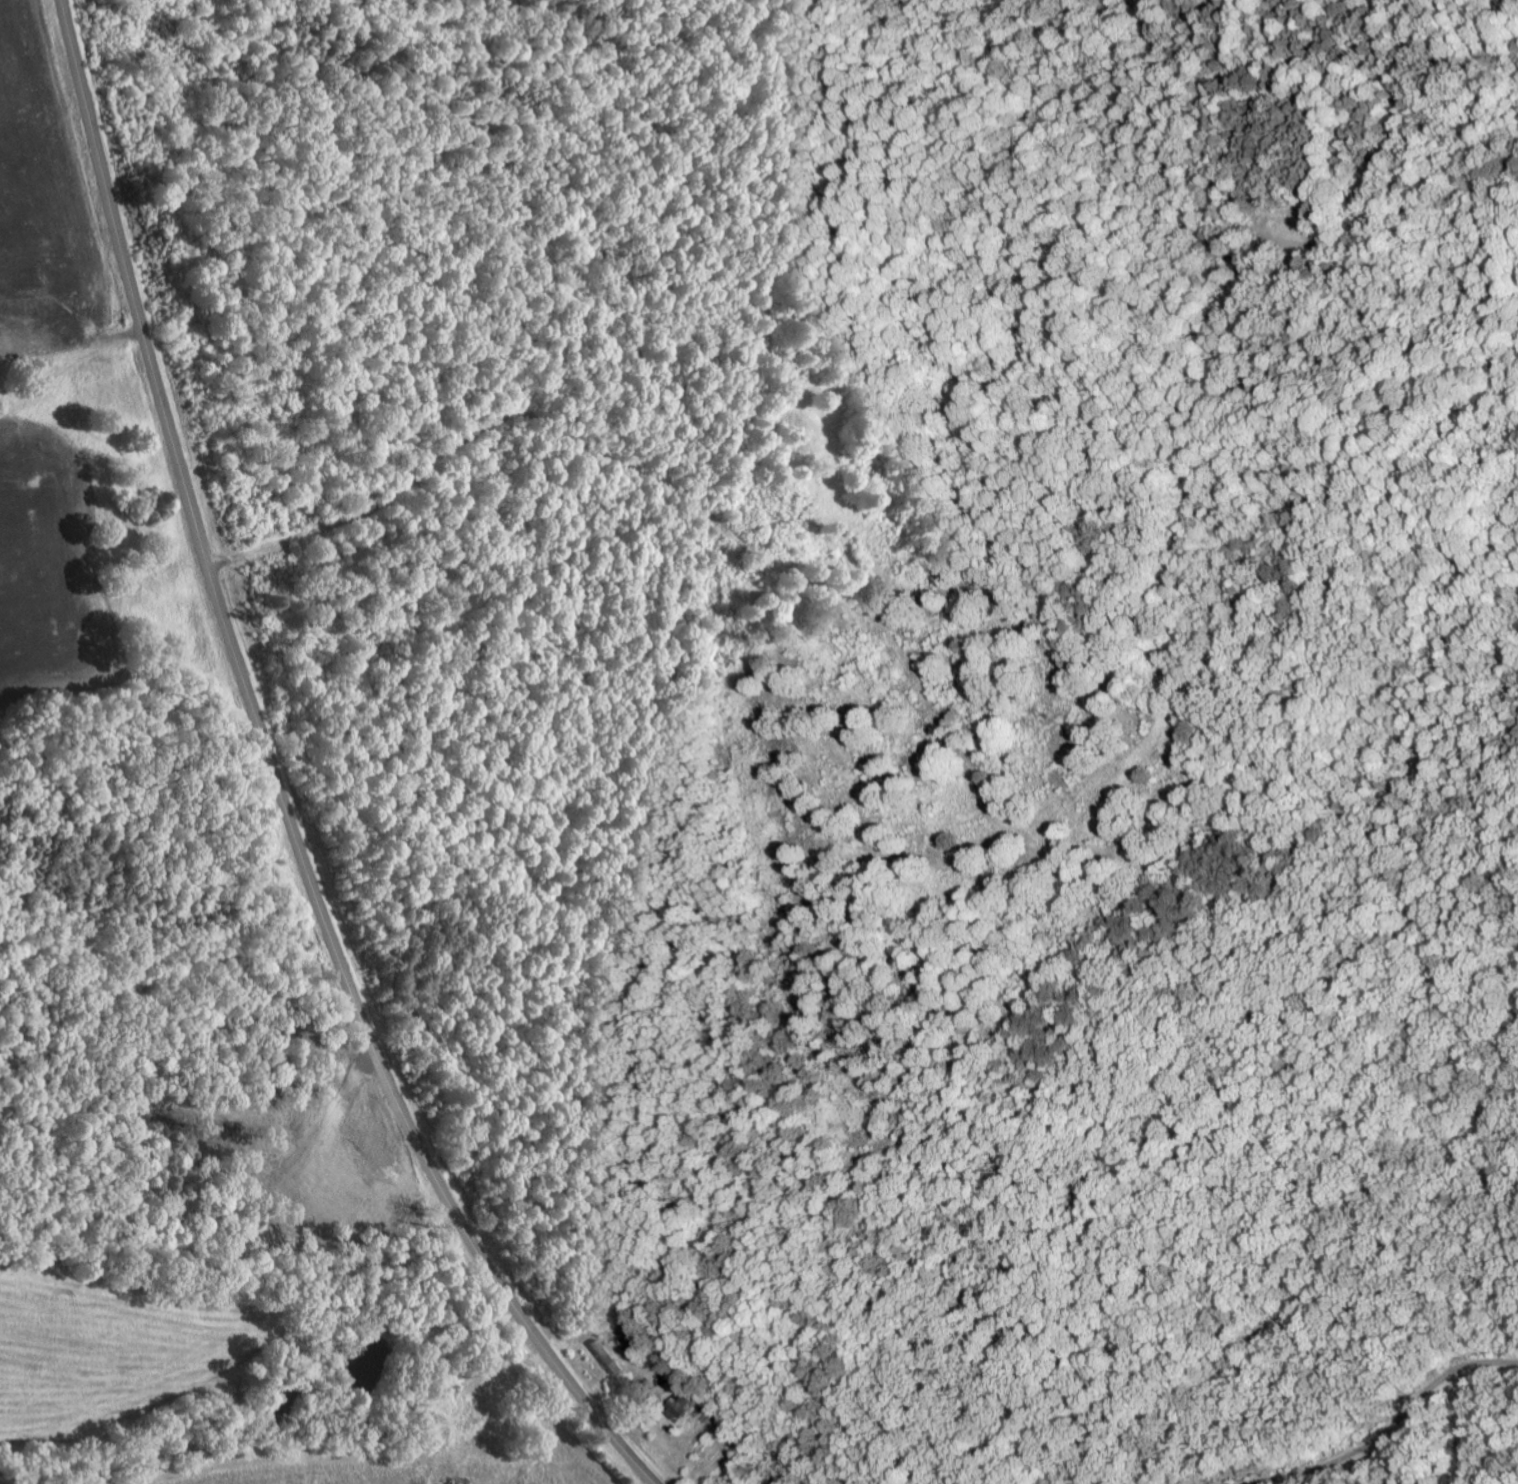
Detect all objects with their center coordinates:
road: (279, 776)
building: (606, 1359)
building: (679, 1404)
road: (1396, 1425)

